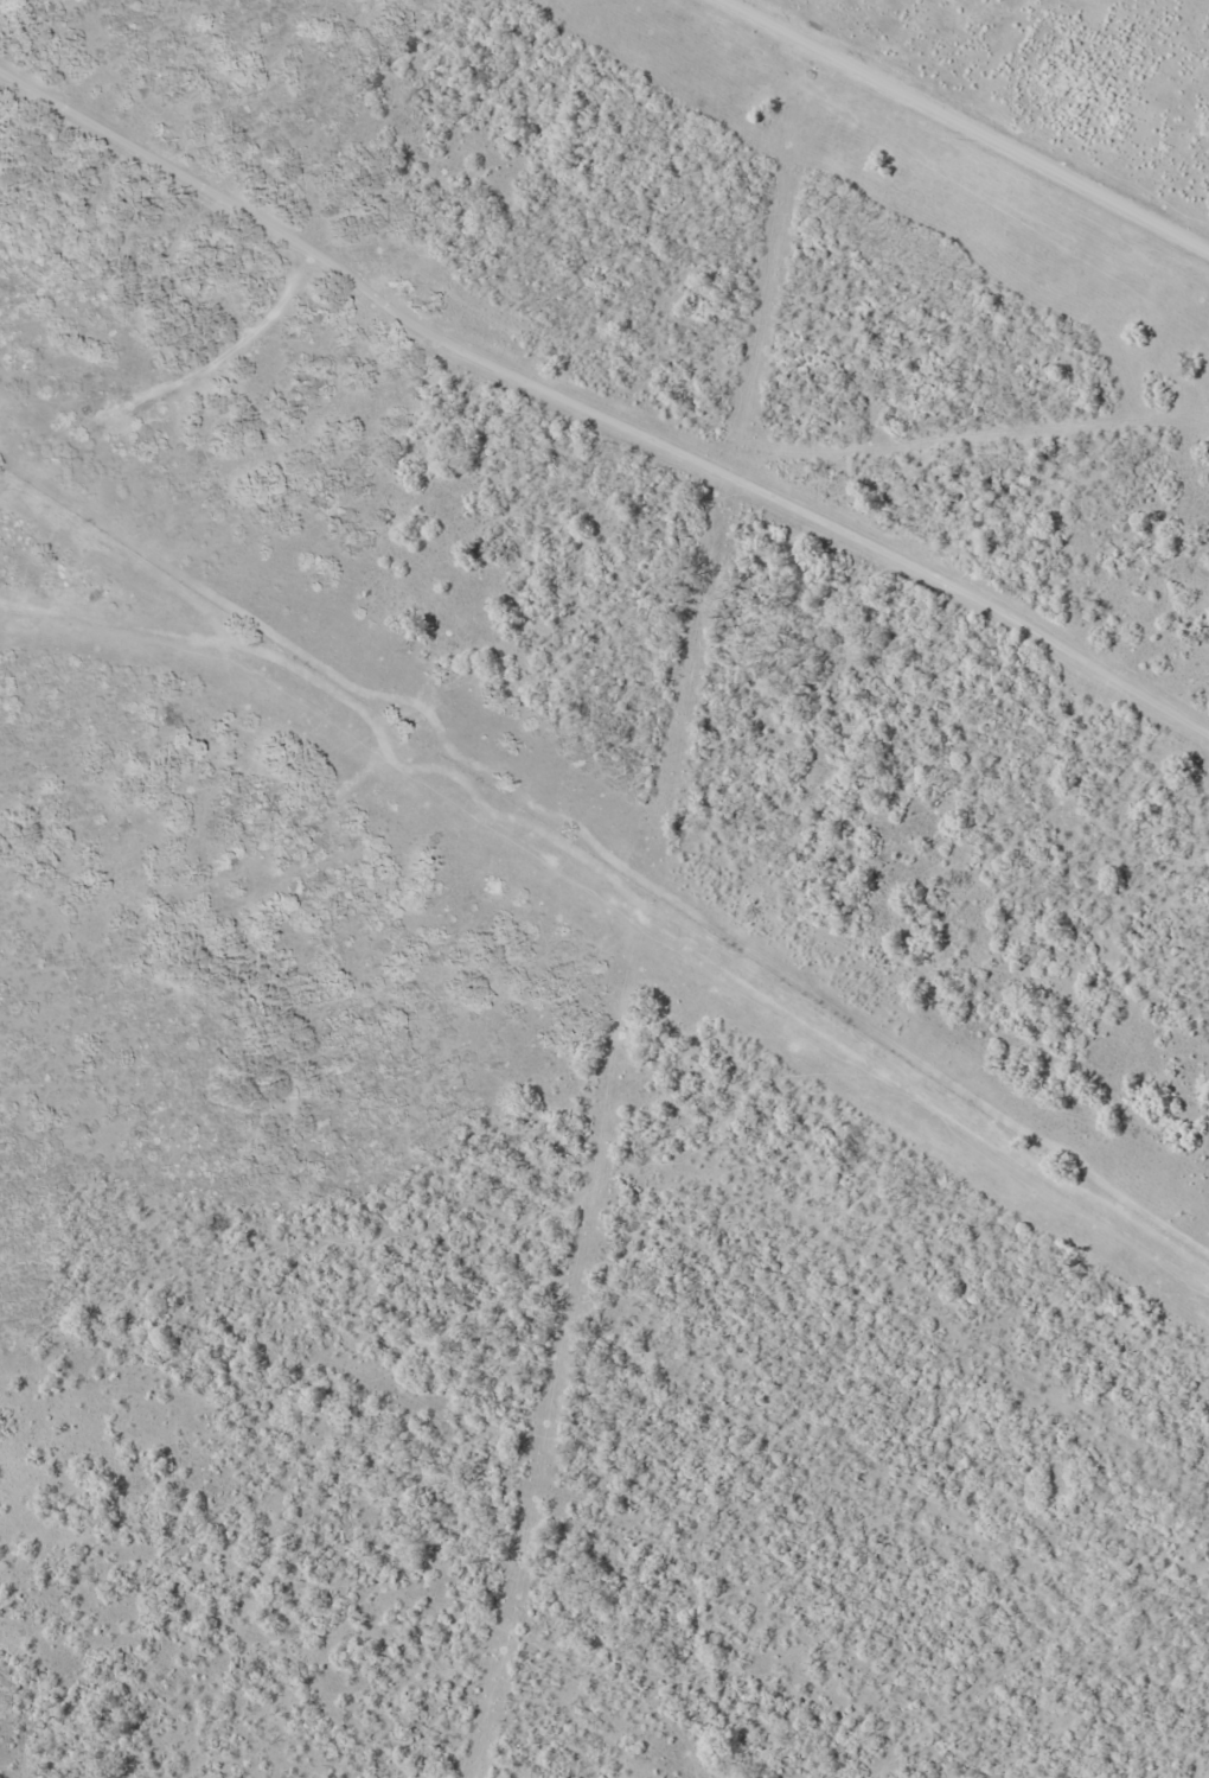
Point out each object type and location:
road: (959, 126)

